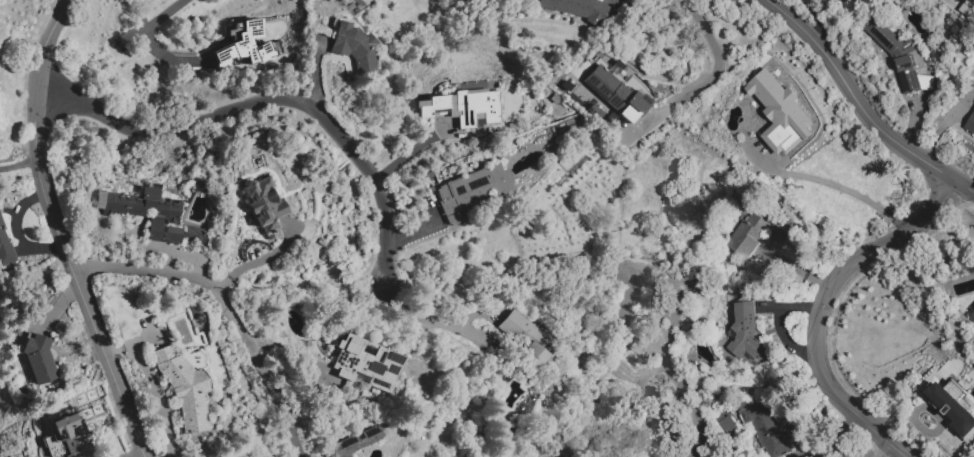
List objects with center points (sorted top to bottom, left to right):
building: (327, 0)
building: (568, 6)
building: (354, 7)
building: (599, 7)
road: (814, 22)
road: (148, 35)
building: (243, 44)
building: (353, 47)
building: (269, 48)
building: (898, 55)
building: (344, 61)
road: (704, 82)
building: (927, 83)
building: (616, 94)
road: (270, 101)
road: (860, 106)
building: (463, 107)
building: (780, 114)
building: (970, 123)
building: (258, 161)
road: (18, 163)
road: (837, 187)
building: (471, 190)
building: (264, 204)
building: (146, 212)
building: (758, 230)
road: (56, 232)
road: (18, 234)
building: (196, 234)
building: (5, 248)
road: (258, 260)
road: (212, 286)
road: (822, 307)
building: (972, 315)
road: (423, 316)
building: (746, 332)
building: (525, 342)
building: (39, 359)
building: (368, 363)
building: (184, 387)
road: (155, 389)
building: (951, 409)
road: (886, 418)
building: (763, 427)
road: (293, 434)
building: (71, 436)
road: (795, 438)
building: (351, 445)

